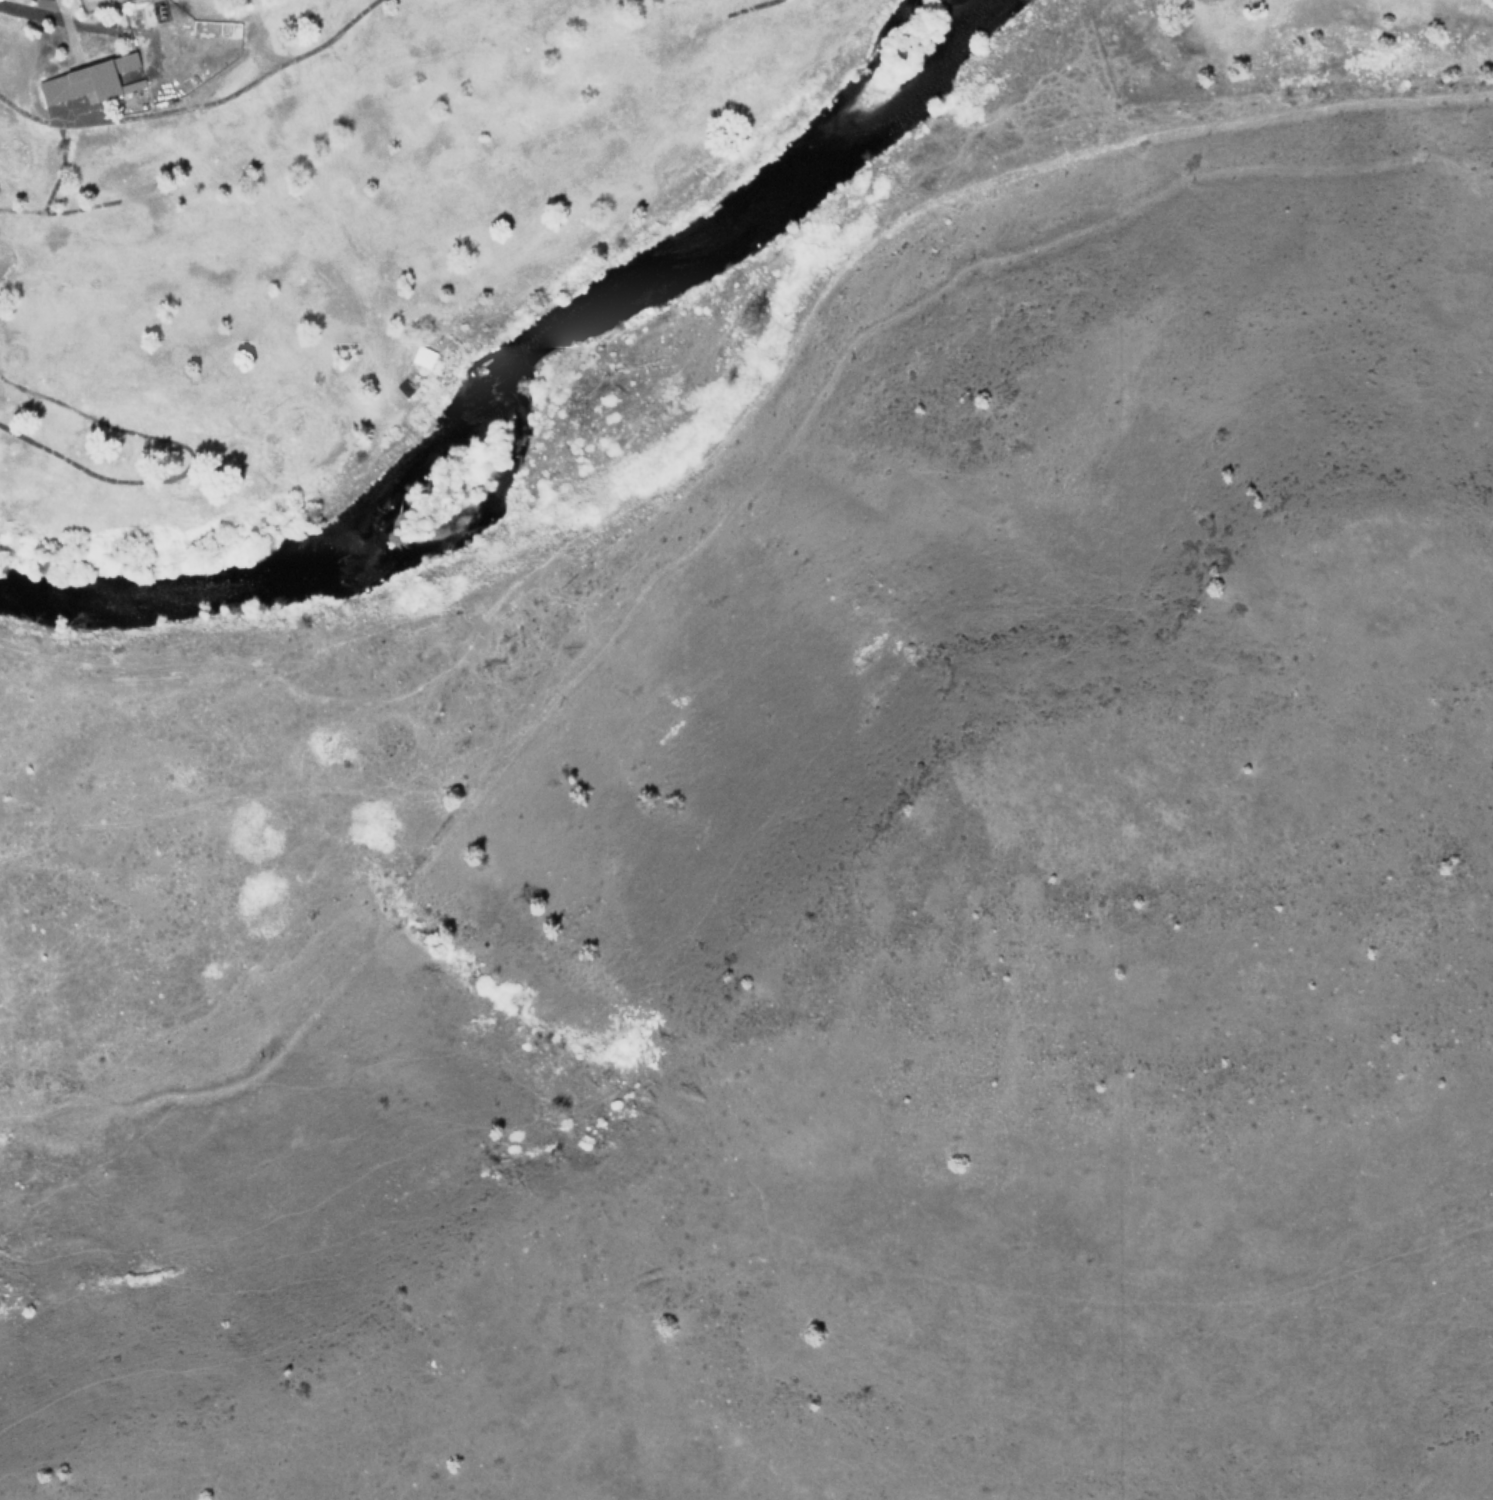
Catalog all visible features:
park: (414, 198)
river: (517, 366)
road: (747, 413)

